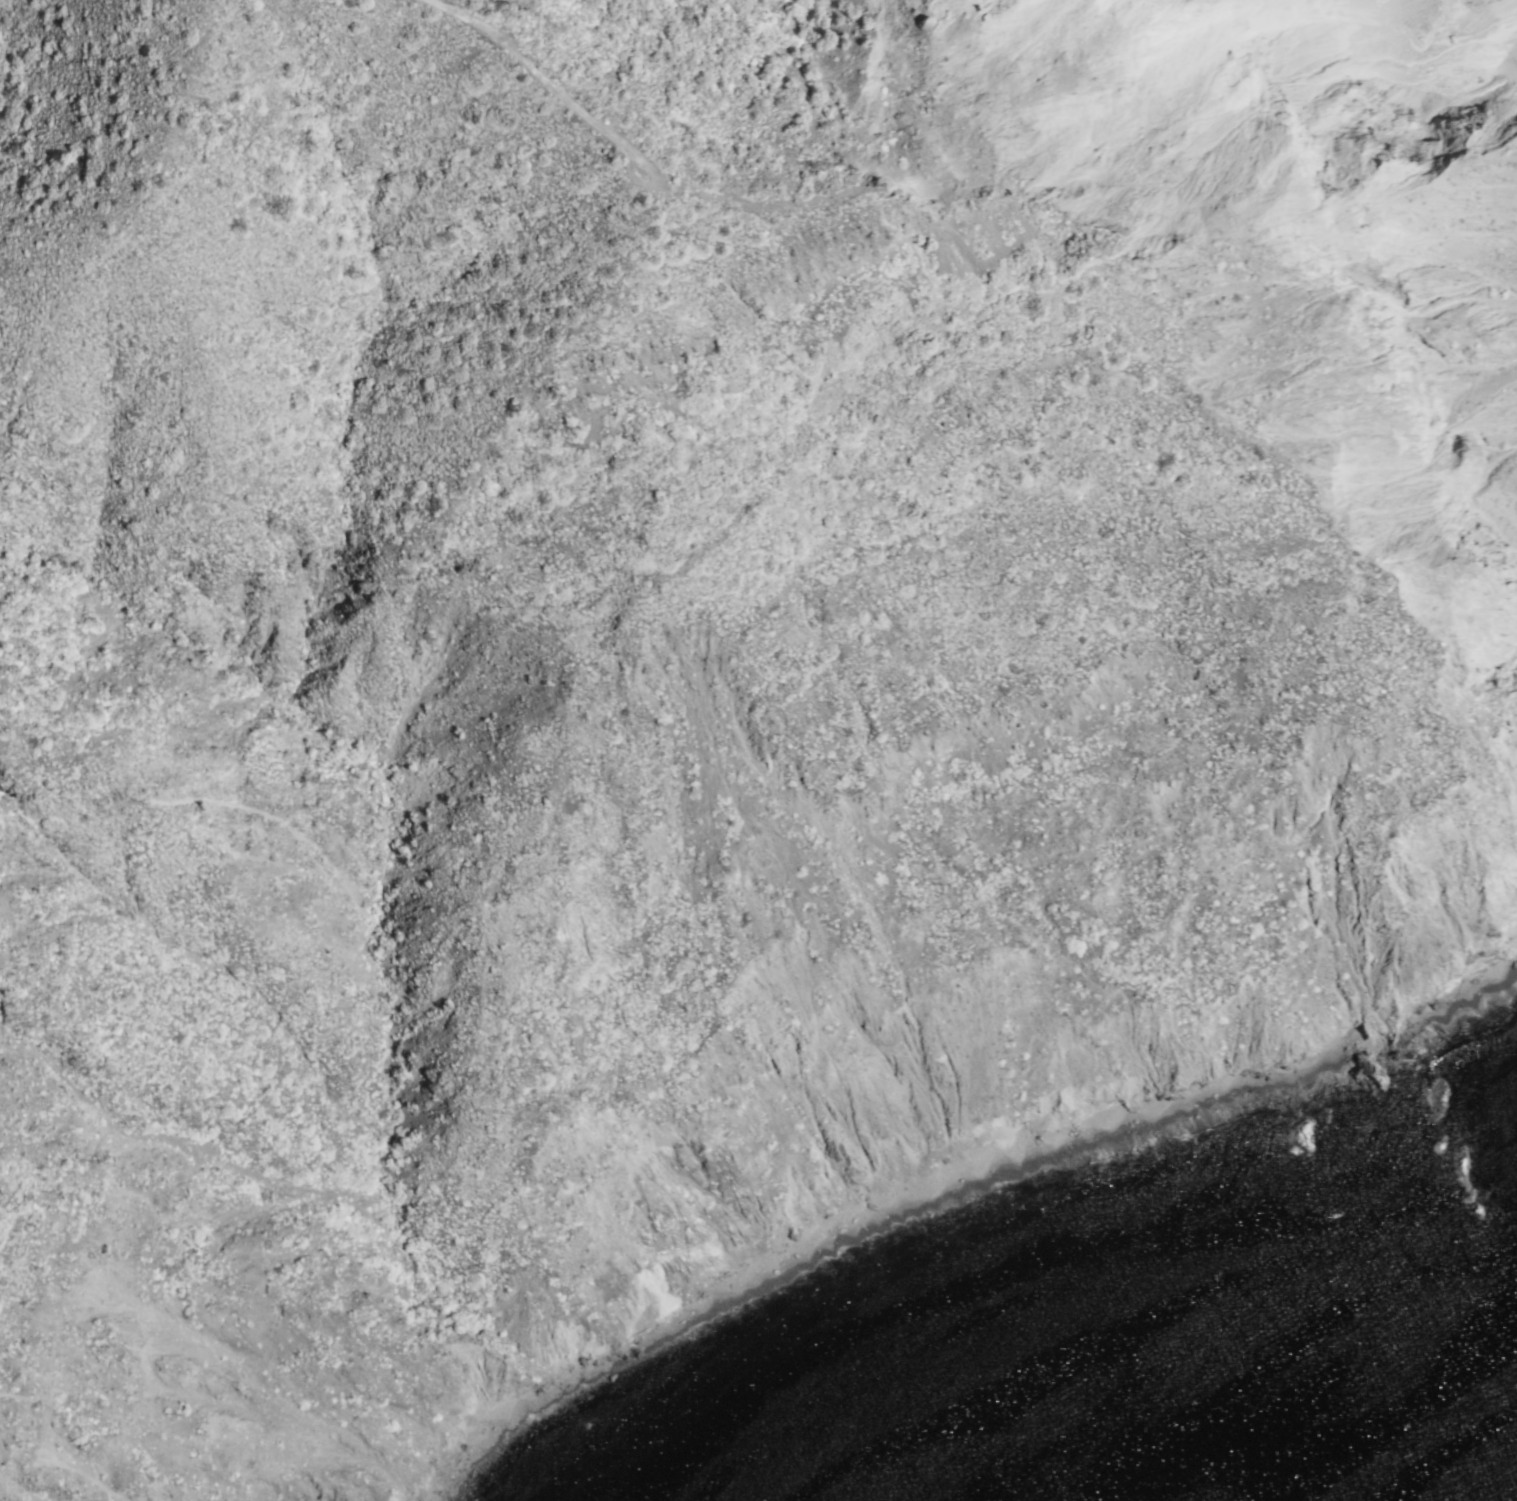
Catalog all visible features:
road: (629, 154)
quarry: (1276, 222)

